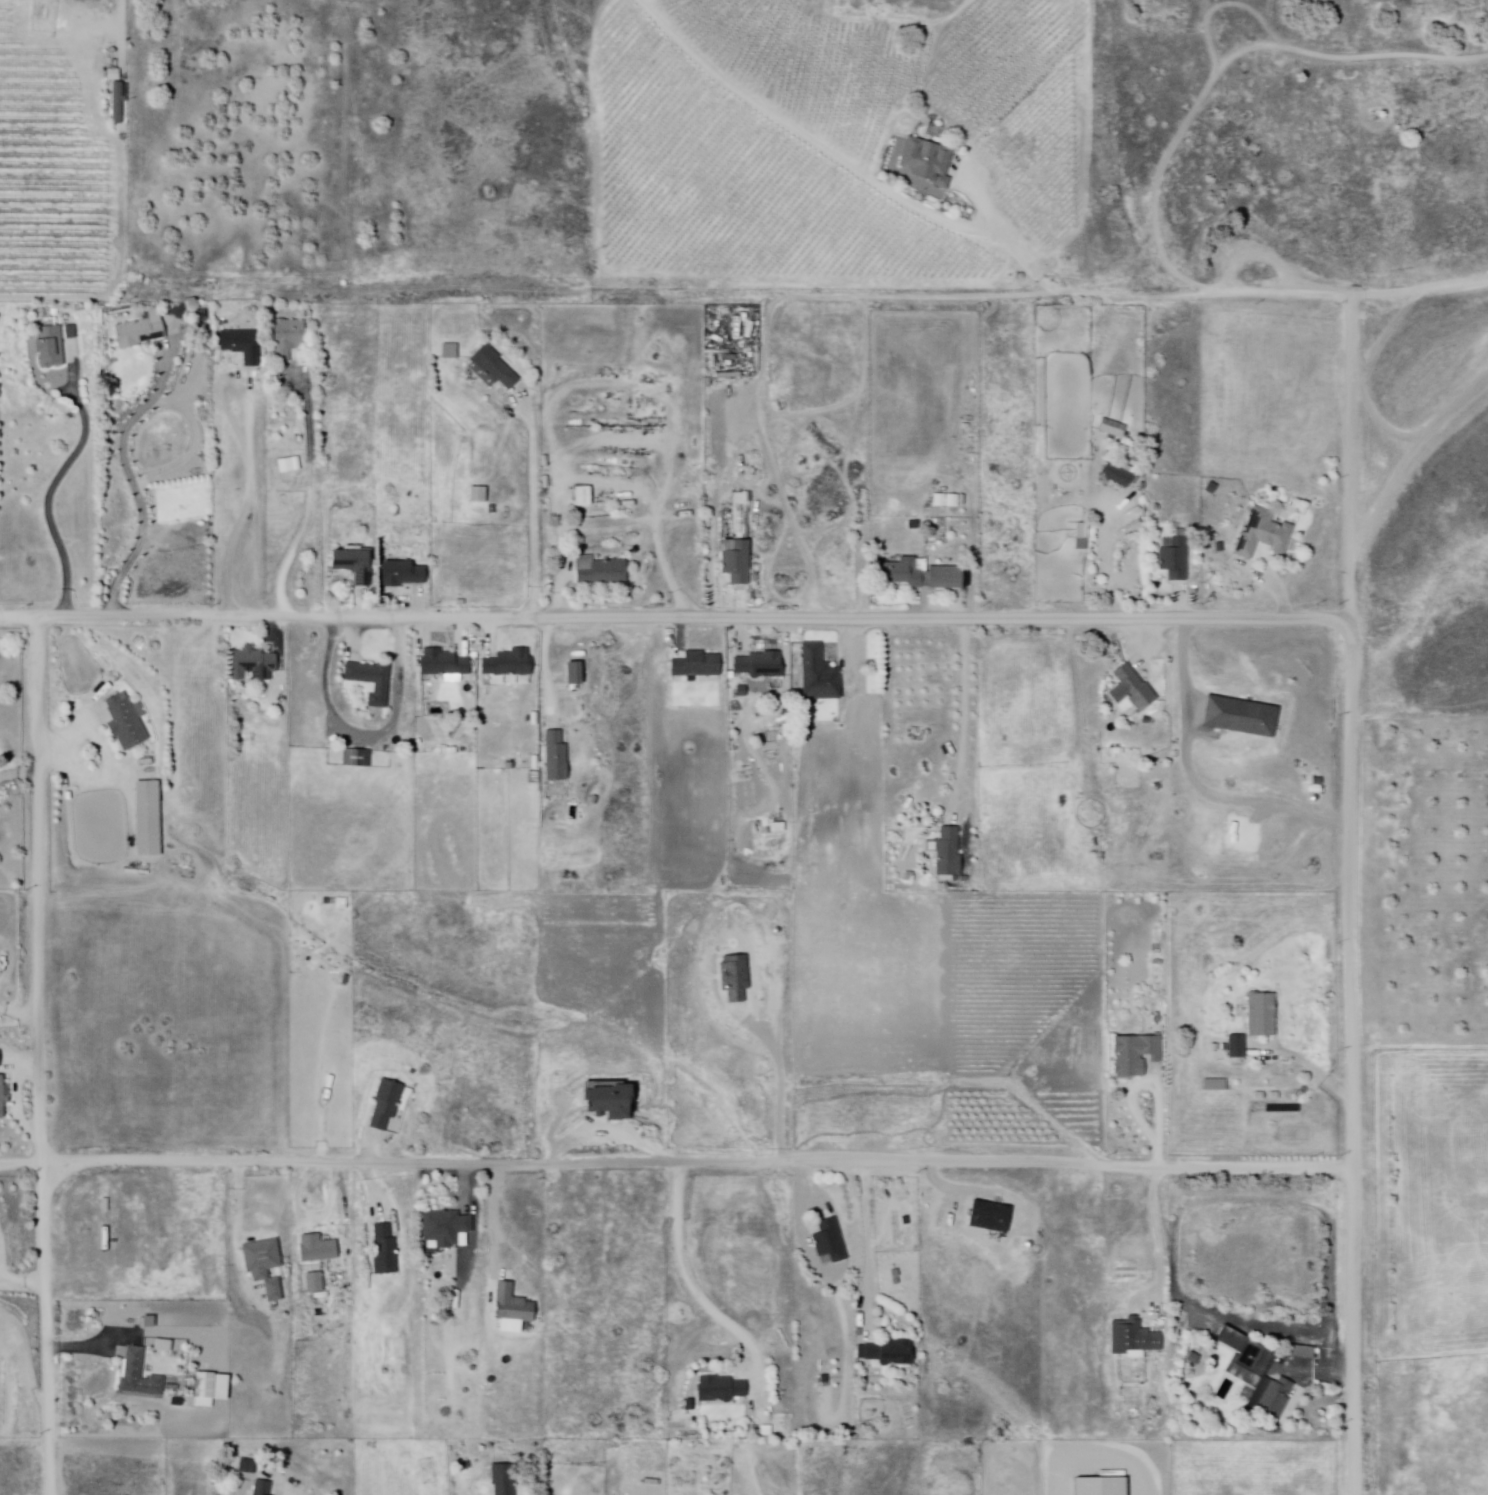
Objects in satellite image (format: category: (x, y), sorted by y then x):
building: (114, 72)
building: (119, 108)
road: (812, 141)
building: (927, 164)
road: (1011, 240)
road: (1420, 291)
road: (745, 294)
building: (140, 335)
building: (290, 339)
building: (244, 346)
building: (52, 348)
building: (450, 354)
building: (490, 370)
building: (1112, 431)
building: (291, 467)
building: (1118, 478)
road: (133, 483)
building: (1213, 491)
road: (51, 494)
building: (478, 497)
building: (583, 498)
road: (249, 502)
building: (940, 503)
building: (954, 503)
road: (311, 506)
building: (493, 511)
road: (533, 513)
building: (741, 518)
building: (914, 527)
building: (1264, 538)
building: (726, 541)
building: (1222, 547)
road: (1110, 562)
building: (1175, 563)
building: (736, 564)
building: (353, 569)
road: (672, 570)
building: (600, 573)
building: (901, 574)
building: (401, 577)
building: (945, 579)
road: (1282, 596)
road: (715, 601)
road: (675, 619)
road: (1152, 636)
building: (512, 665)
road: (851, 665)
building: (442, 666)
road: (550, 666)
building: (696, 666)
building: (762, 667)
building: (255, 668)
building: (574, 676)
building: (819, 679)
building: (370, 683)
building: (1136, 689)
road: (965, 714)
building: (128, 723)
building: (557, 759)
building: (355, 760)
road: (19, 775)
building: (149, 820)
building: (948, 855)
road: (1352, 895)
road: (18, 1013)
building: (1265, 1014)
building: (1238, 1046)
building: (1135, 1053)
road: (38, 1057)
road: (1317, 1072)
road: (1154, 1086)
building: (1210, 1086)
building: (610, 1097)
building: (2, 1098)
building: (387, 1101)
road: (609, 1132)
road: (21, 1163)
road: (700, 1163)
road: (365, 1171)
road: (465, 1184)
road: (240, 1201)
road: (345, 1222)
building: (446, 1226)
road: (3, 1234)
building: (831, 1238)
road: (1159, 1242)
road: (868, 1244)
building: (318, 1248)
building: (384, 1250)
building: (264, 1264)
building: (315, 1281)
road: (20, 1284)
road: (695, 1286)
building: (511, 1306)
building: (1135, 1337)
building: (1301, 1350)
building: (893, 1352)
building: (1194, 1356)
building: (1258, 1370)
building: (139, 1374)
building: (205, 1384)
building: (723, 1386)
building: (691, 1403)
building: (247, 1464)
building: (506, 1478)
building: (265, 1487)
building: (1101, 1487)

